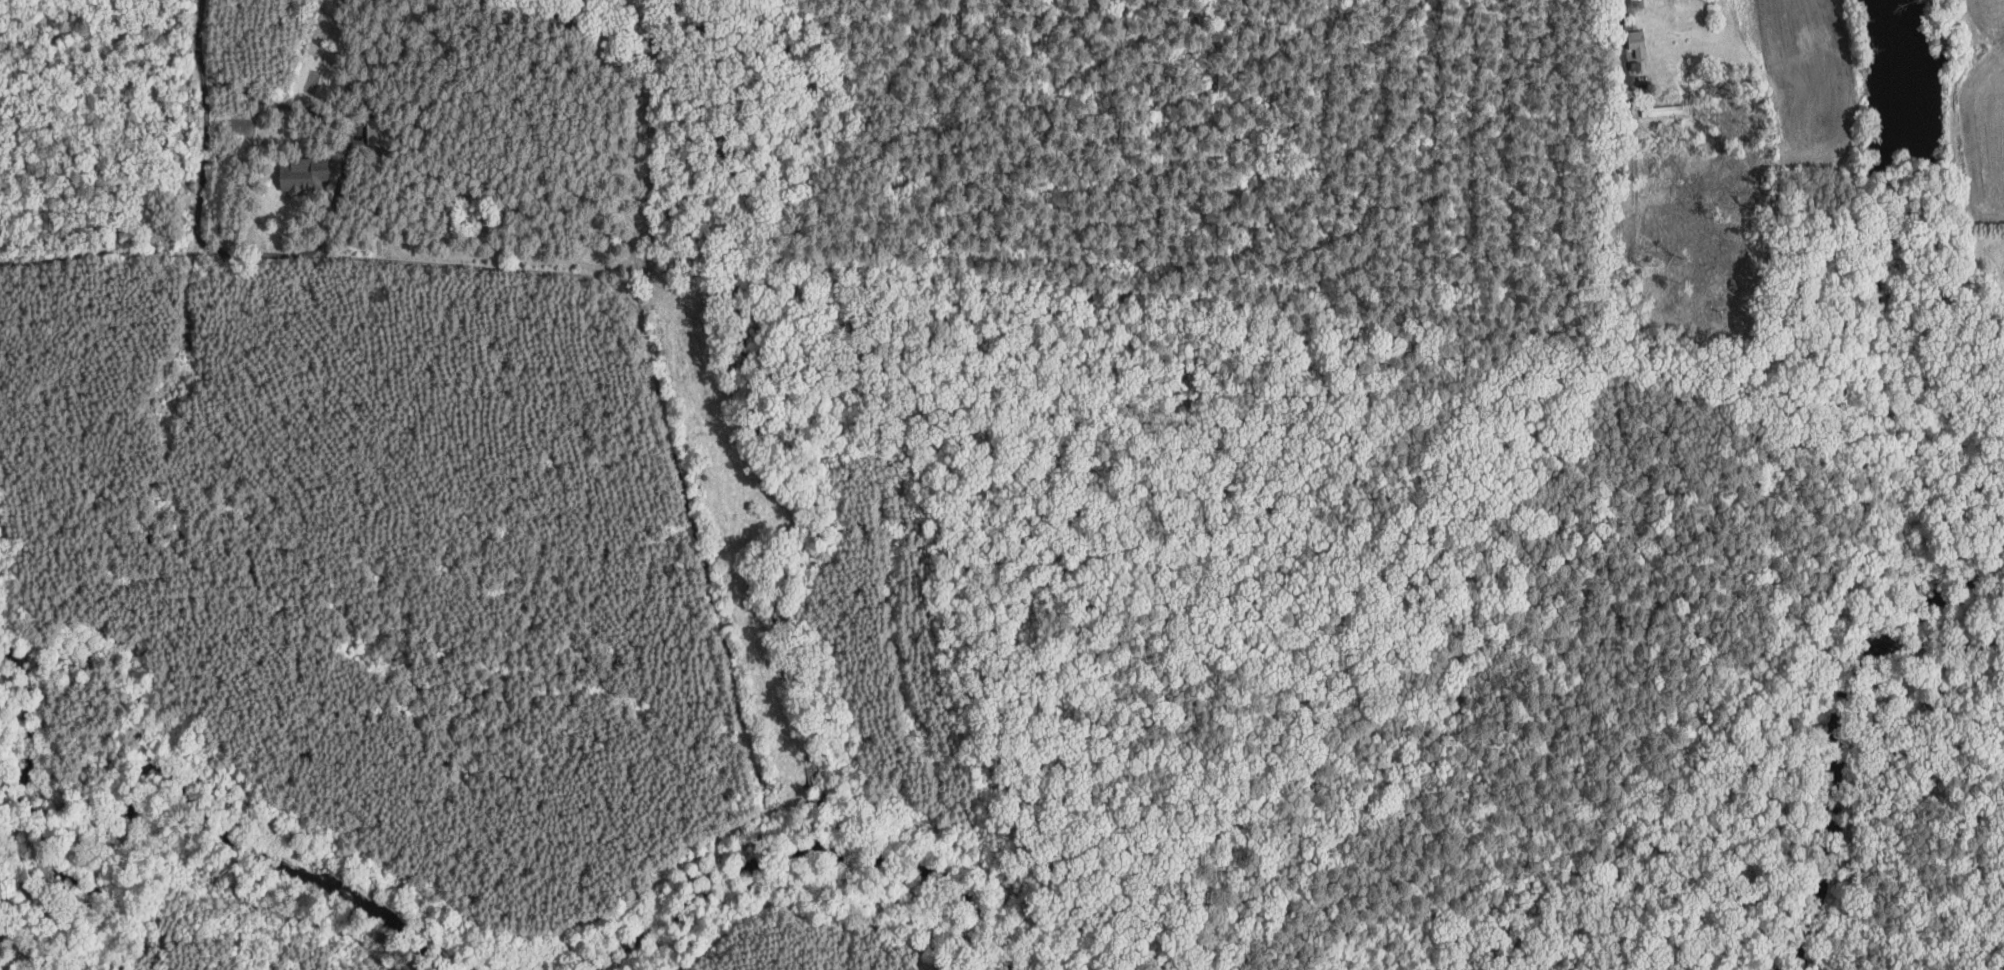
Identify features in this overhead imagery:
road: (198, 37)
building: (1637, 42)
building: (306, 176)
road: (314, 246)

